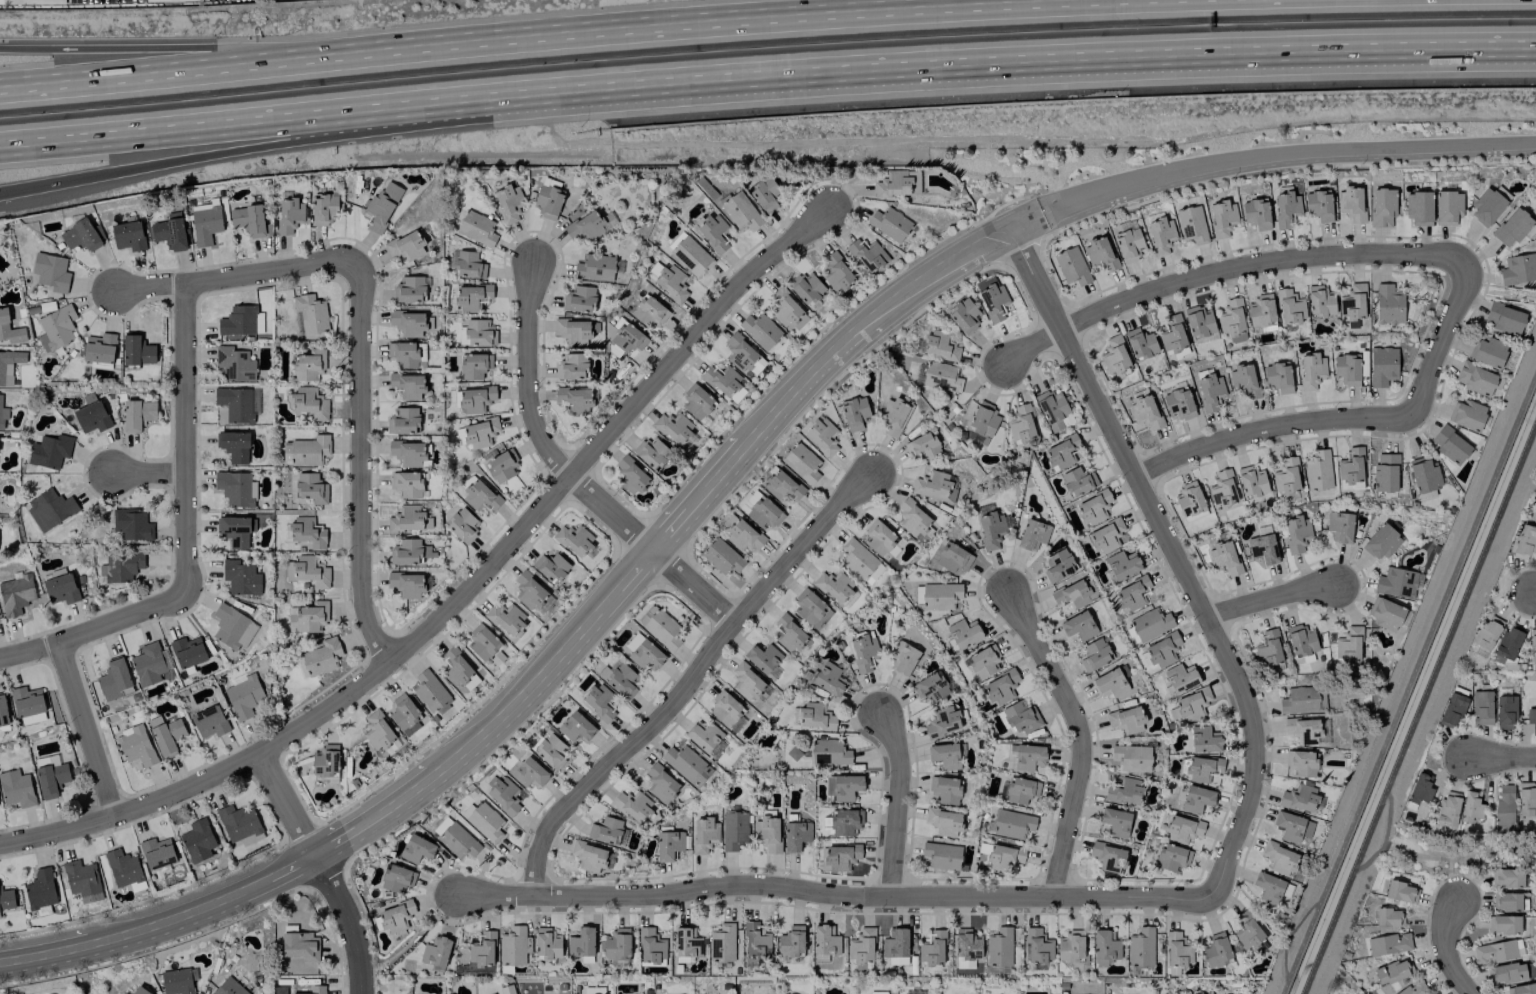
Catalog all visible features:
road: (660, 20)
road: (190, 47)
road: (190, 65)
road: (1023, 65)
road: (255, 121)
road: (255, 146)
road: (1284, 151)
building: (765, 194)
building: (547, 201)
building: (508, 202)
building: (1350, 203)
building: (1488, 204)
building: (1318, 205)
building: (381, 206)
building: (1382, 206)
building: (1419, 207)
building: (1447, 207)
building: (323, 208)
building: (1285, 208)
building: (740, 211)
building: (1256, 213)
building: (289, 215)
building: (1222, 218)
building: (248, 219)
road: (1025, 221)
building: (205, 222)
building: (889, 223)
building: (1191, 224)
building: (1512, 227)
building: (477, 228)
building: (168, 231)
building: (713, 232)
building: (79, 235)
building: (128, 235)
building: (1160, 235)
building: (1129, 244)
building: (405, 245)
building: (1099, 253)
building: (867, 254)
building: (691, 256)
building: (467, 263)
building: (1071, 266)
building: (595, 267)
road: (1228, 267)
building: (50, 271)
building: (835, 272)
road: (237, 275)
building: (668, 279)
road: (912, 285)
building: (806, 288)
road: (1499, 293)
building: (469, 296)
building: (990, 298)
building: (579, 299)
building: (1320, 301)
building: (1352, 303)
building: (1388, 304)
building: (1289, 306)
building: (786, 310)
building: (649, 311)
building: (1261, 311)
building: (310, 313)
building: (964, 315)
building: (1504, 318)
building: (238, 320)
building: (1232, 320)
building: (1198, 323)
building: (56, 327)
building: (10, 329)
building: (760, 330)
building: (572, 331)
building: (476, 333)
building: (1172, 334)
building: (624, 340)
road: (1441, 341)
building: (1140, 343)
building: (939, 345)
building: (98, 347)
building: (137, 350)
building: (1488, 351)
building: (405, 353)
building: (743, 355)
building: (1114, 355)
building: (234, 363)
building: (308, 364)
building: (9, 365)
building: (474, 365)
building: (1382, 365)
building: (572, 366)
building: (1346, 369)
building: (1311, 370)
building: (941, 376)
building: (1278, 377)
building: (1475, 378)
building: (722, 379)
building: (1243, 380)
building: (407, 385)
building: (1209, 389)
building: (475, 399)
building: (575, 399)
building: (696, 401)
road: (787, 401)
building: (309, 402)
building: (234, 403)
building: (1178, 403)
building: (1053, 410)
building: (1145, 412)
building: (854, 413)
building: (2, 414)
building: (90, 414)
building: (137, 414)
building: (1467, 414)
building: (893, 416)
building: (983, 419)
building: (402, 420)
building: (1020, 423)
building: (673, 427)
road: (1267, 427)
building: (479, 432)
building: (822, 436)
road: (186, 440)
building: (1450, 445)
building: (233, 446)
building: (921, 446)
building: (305, 450)
building: (49, 451)
building: (1061, 451)
building: (408, 452)
building: (651, 452)
road: (363, 463)
building: (801, 463)
building: (501, 466)
building: (1350, 466)
building: (1317, 470)
road: (571, 472)
building: (1385, 473)
building: (1424, 474)
road: (149, 475)
building: (630, 475)
building: (1286, 476)
building: (1535, 477)
road: (719, 478)
building: (1077, 480)
building: (1251, 481)
building: (407, 484)
building: (780, 484)
building: (934, 486)
building: (311, 487)
building: (235, 488)
building: (1222, 489)
building: (478, 493)
building: (1189, 499)
building: (1094, 507)
building: (50, 509)
building: (764, 513)
building: (406, 518)
building: (912, 518)
building: (131, 525)
building: (462, 525)
building: (1339, 526)
building: (991, 529)
building: (235, 530)
building: (307, 531)
road: (672, 532)
building: (1296, 533)
building: (1032, 534)
building: (743, 536)
building: (1106, 536)
building: (878, 537)
building: (574, 539)
building: (1524, 541)
building: (1380, 542)
building: (1263, 548)
building: (409, 551)
building: (722, 556)
road: (1176, 556)
building: (952, 557)
building: (857, 558)
building: (1224, 558)
building: (1122, 564)
building: (1058, 565)
building: (121, 566)
building: (551, 567)
building: (311, 571)
road: (636, 571)
building: (240, 577)
building: (1395, 582)
building: (406, 584)
building: (834, 585)
building: (61, 589)
road: (1535, 589)
building: (529, 591)
building: (1132, 593)
building: (15, 594)
building: (940, 595)
road: (462, 597)
road: (1271, 597)
building: (811, 608)
building: (1384, 613)
building: (312, 616)
building: (505, 617)
building: (291, 619)
building: (1150, 623)
building: (1078, 625)
building: (232, 627)
building: (663, 629)
road: (94, 631)
building: (964, 632)
building: (1486, 632)
building: (788, 633)
building: (1301, 640)
building: (633, 641)
building: (484, 644)
building: (1348, 644)
building: (1507, 645)
building: (1532, 645)
building: (1268, 649)
building: (1163, 650)
building: (187, 651)
building: (864, 652)
building: (1095, 654)
building: (646, 655)
building: (321, 657)
building: (762, 657)
building: (902, 658)
building: (983, 661)
building: (149, 664)
building: (1180, 677)
building: (618, 678)
building: (828, 678)
road: (693, 679)
building: (114, 680)
building: (746, 681)
building: (1109, 683)
road: (1408, 683)
road: (531, 686)
building: (930, 687)
building: (1000, 687)
building: (430, 692)
building: (243, 695)
building: (1303, 699)
building: (26, 701)
building: (598, 702)
building: (1535, 703)
building: (1192, 704)
building: (724, 707)
road: (1418, 707)
building: (1481, 707)
building: (1451, 710)
building: (3, 711)
building: (403, 711)
building: (1505, 711)
building: (815, 716)
building: (1020, 717)
building: (1531, 718)
building: (1126, 719)
building: (209, 721)
building: (943, 721)
building: (575, 726)
road: (89, 729)
building: (1303, 730)
building: (377, 731)
building: (165, 735)
building: (703, 735)
road: (1080, 736)
building: (1203, 739)
building: (136, 745)
building: (551, 751)
building: (829, 752)
building: (944, 755)
building: (1028, 756)
building: (1131, 757)
road: (1502, 757)
building: (325, 761)
building: (1301, 762)
building: (687, 764)
building: (1202, 768)
building: (528, 773)
building: (51, 779)
building: (661, 783)
building: (843, 786)
building: (16, 788)
building: (945, 789)
building: (1021, 790)
building: (1418, 790)
building: (1124, 791)
building: (504, 795)
building: (1299, 798)
building: (1196, 799)
building: (1526, 799)
road: (400, 802)
road: (897, 803)
building: (632, 804)
road: (290, 806)
building: (1470, 806)
building: (1503, 807)
building: (1447, 809)
building: (845, 821)
building: (943, 821)
building: (485, 822)
building: (1115, 822)
building: (239, 824)
building: (1011, 824)
building: (441, 826)
building: (1292, 826)
building: (1183, 829)
building: (605, 830)
building: (733, 830)
building: (767, 833)
building: (704, 834)
building: (795, 835)
road: (1384, 836)
building: (197, 840)
building: (458, 841)
road: (339, 842)
building: (668, 844)
building: (416, 848)
building: (156, 852)
building: (941, 855)
building: (588, 856)
building: (839, 856)
building: (1004, 857)
building: (1108, 857)
building: (1172, 857)
road: (1458, 857)
building: (1279, 858)
building: (122, 867)
road: (291, 868)
building: (1506, 877)
building: (81, 878)
building: (396, 878)
road: (1451, 880)
building: (1268, 887)
building: (1401, 891)
building: (39, 892)
road: (832, 894)
building: (6, 899)
building: (1507, 901)
road: (178, 915)
building: (395, 916)
building: (1388, 916)
road: (1263, 919)
road: (353, 920)
road: (1298, 920)
building: (1503, 924)
building: (1247, 932)
building: (791, 941)
building: (581, 942)
building: (754, 942)
building: (824, 942)
building: (547, 943)
building: (721, 943)
building: (1388, 943)
building: (617, 944)
building: (686, 944)
building: (300, 946)
building: (512, 946)
building: (650, 946)
building: (861, 946)
building: (895, 946)
building: (1038, 946)
building: (1070, 946)
building: (998, 947)
building: (1104, 947)
building: (1141, 947)
building: (966, 948)
building: (482, 949)
building: (932, 949)
building: (1177, 950)
building: (1216, 950)
road: (1446, 950)
building: (1497, 951)
building: (435, 952)
road: (44, 953)
building: (1392, 971)
building: (1510, 972)
building: (178, 980)
building: (228, 987)
building: (1413, 988)
building: (316, 989)
building: (1521, 989)
building: (139, 990)
building: (493, 993)

